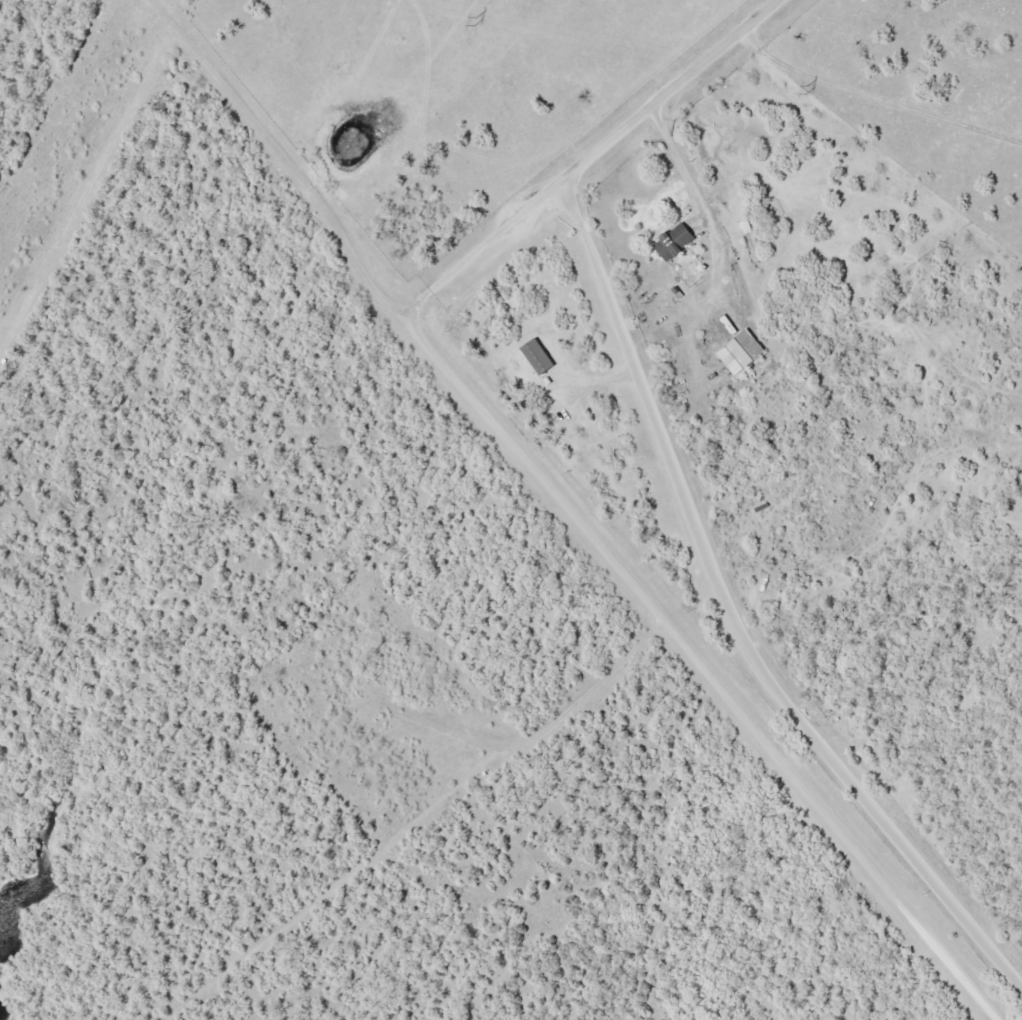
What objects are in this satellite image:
power tower: (476, 20)
power tower: (806, 88)
road: (676, 92)
road: (701, 208)
building: (677, 241)
road: (483, 250)
building: (744, 351)
road: (573, 512)
road: (736, 617)
road: (544, 730)

